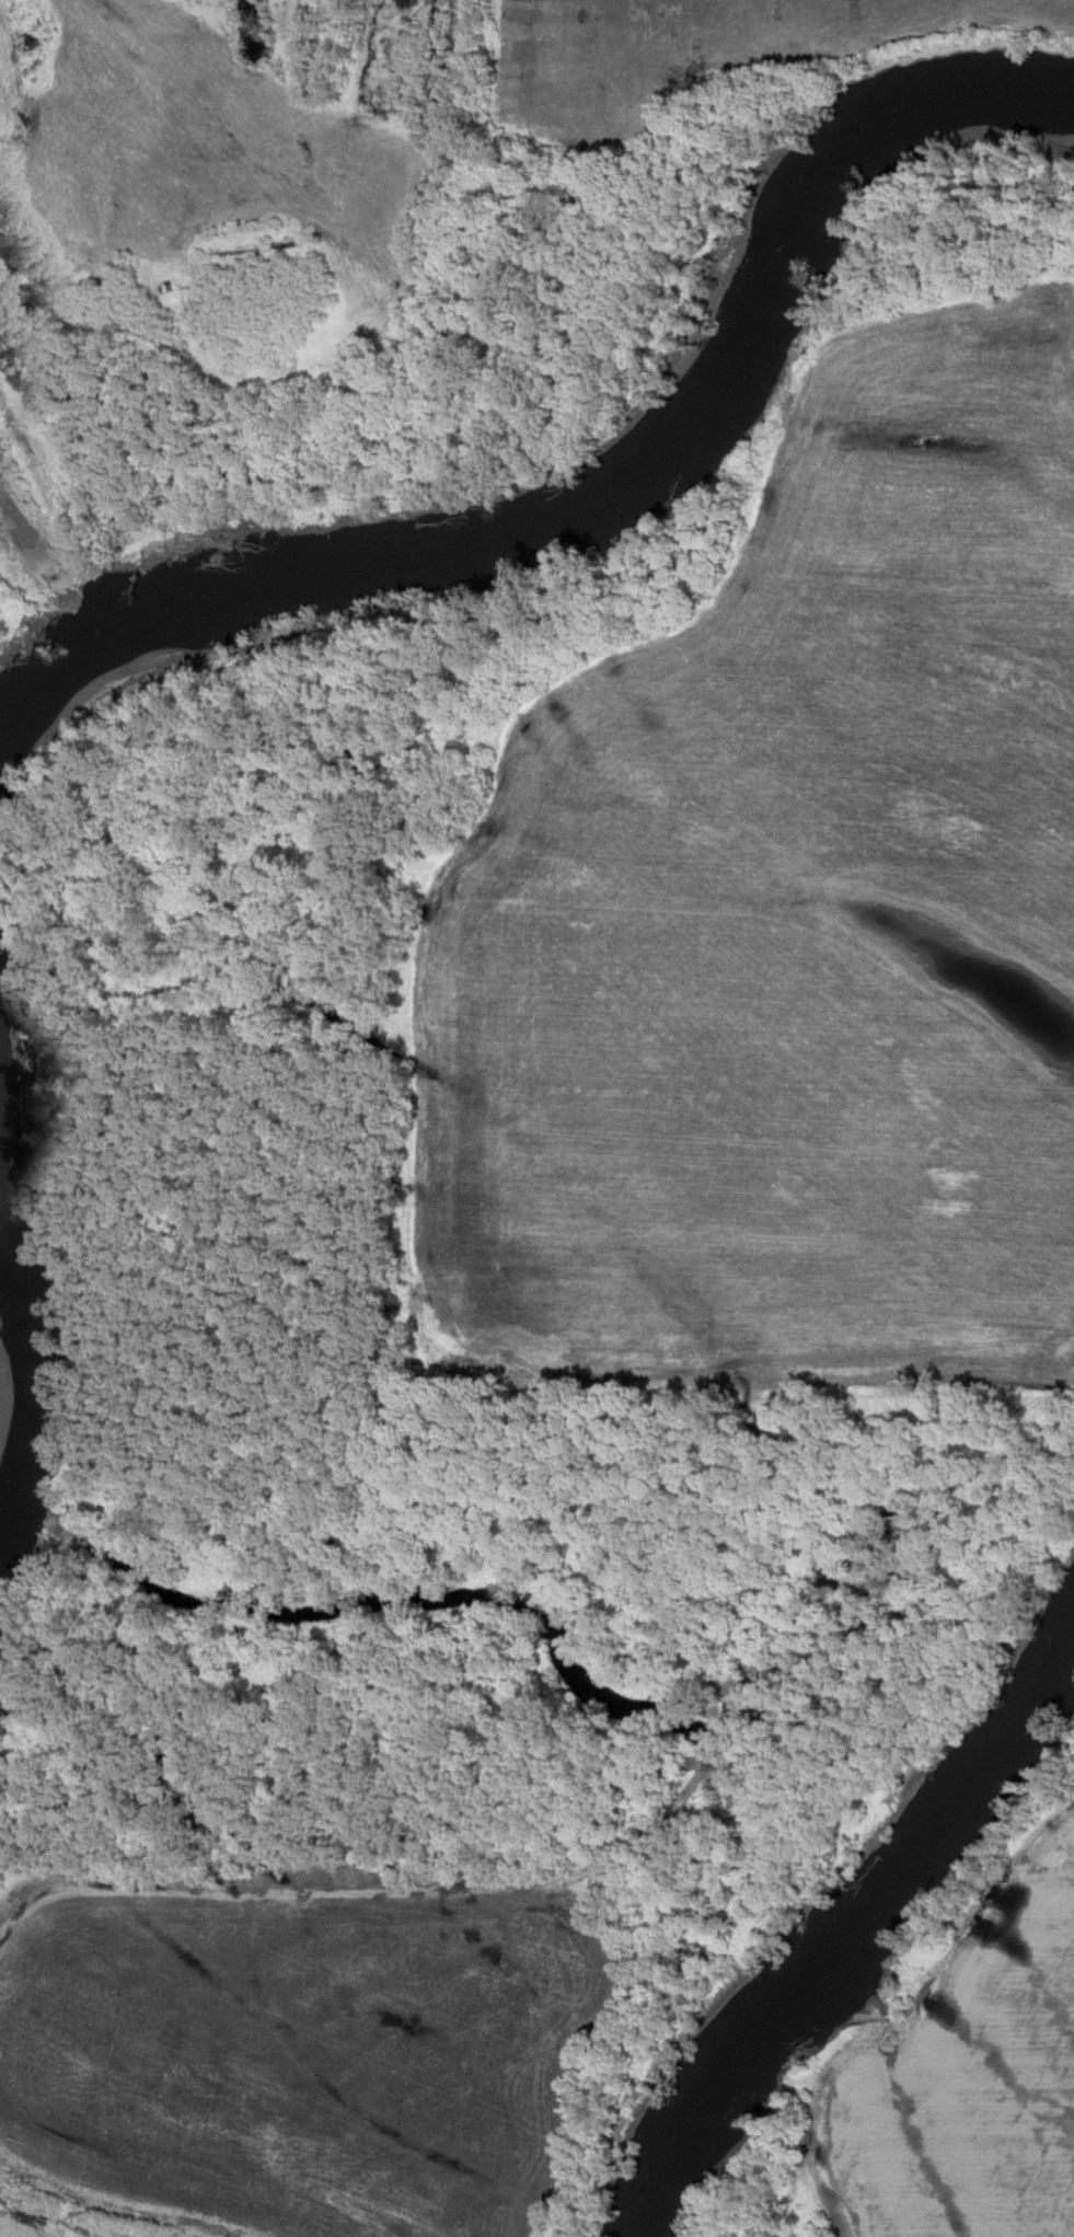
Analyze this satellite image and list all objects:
river: (609, 496)
river: (1, 1307)
river: (832, 1918)

